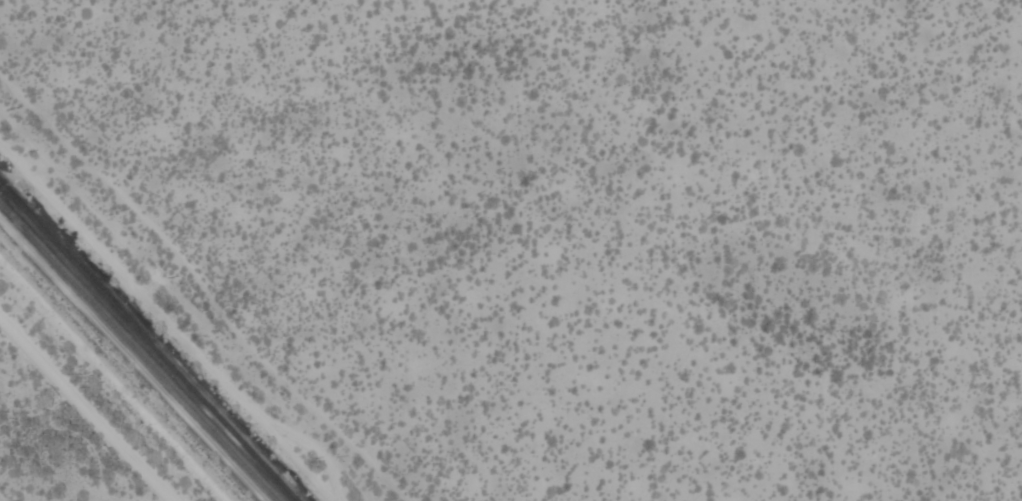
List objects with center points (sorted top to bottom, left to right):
road: (204, 283)
road: (164, 325)
railway: (147, 344)
railway: (139, 352)
road: (85, 408)

